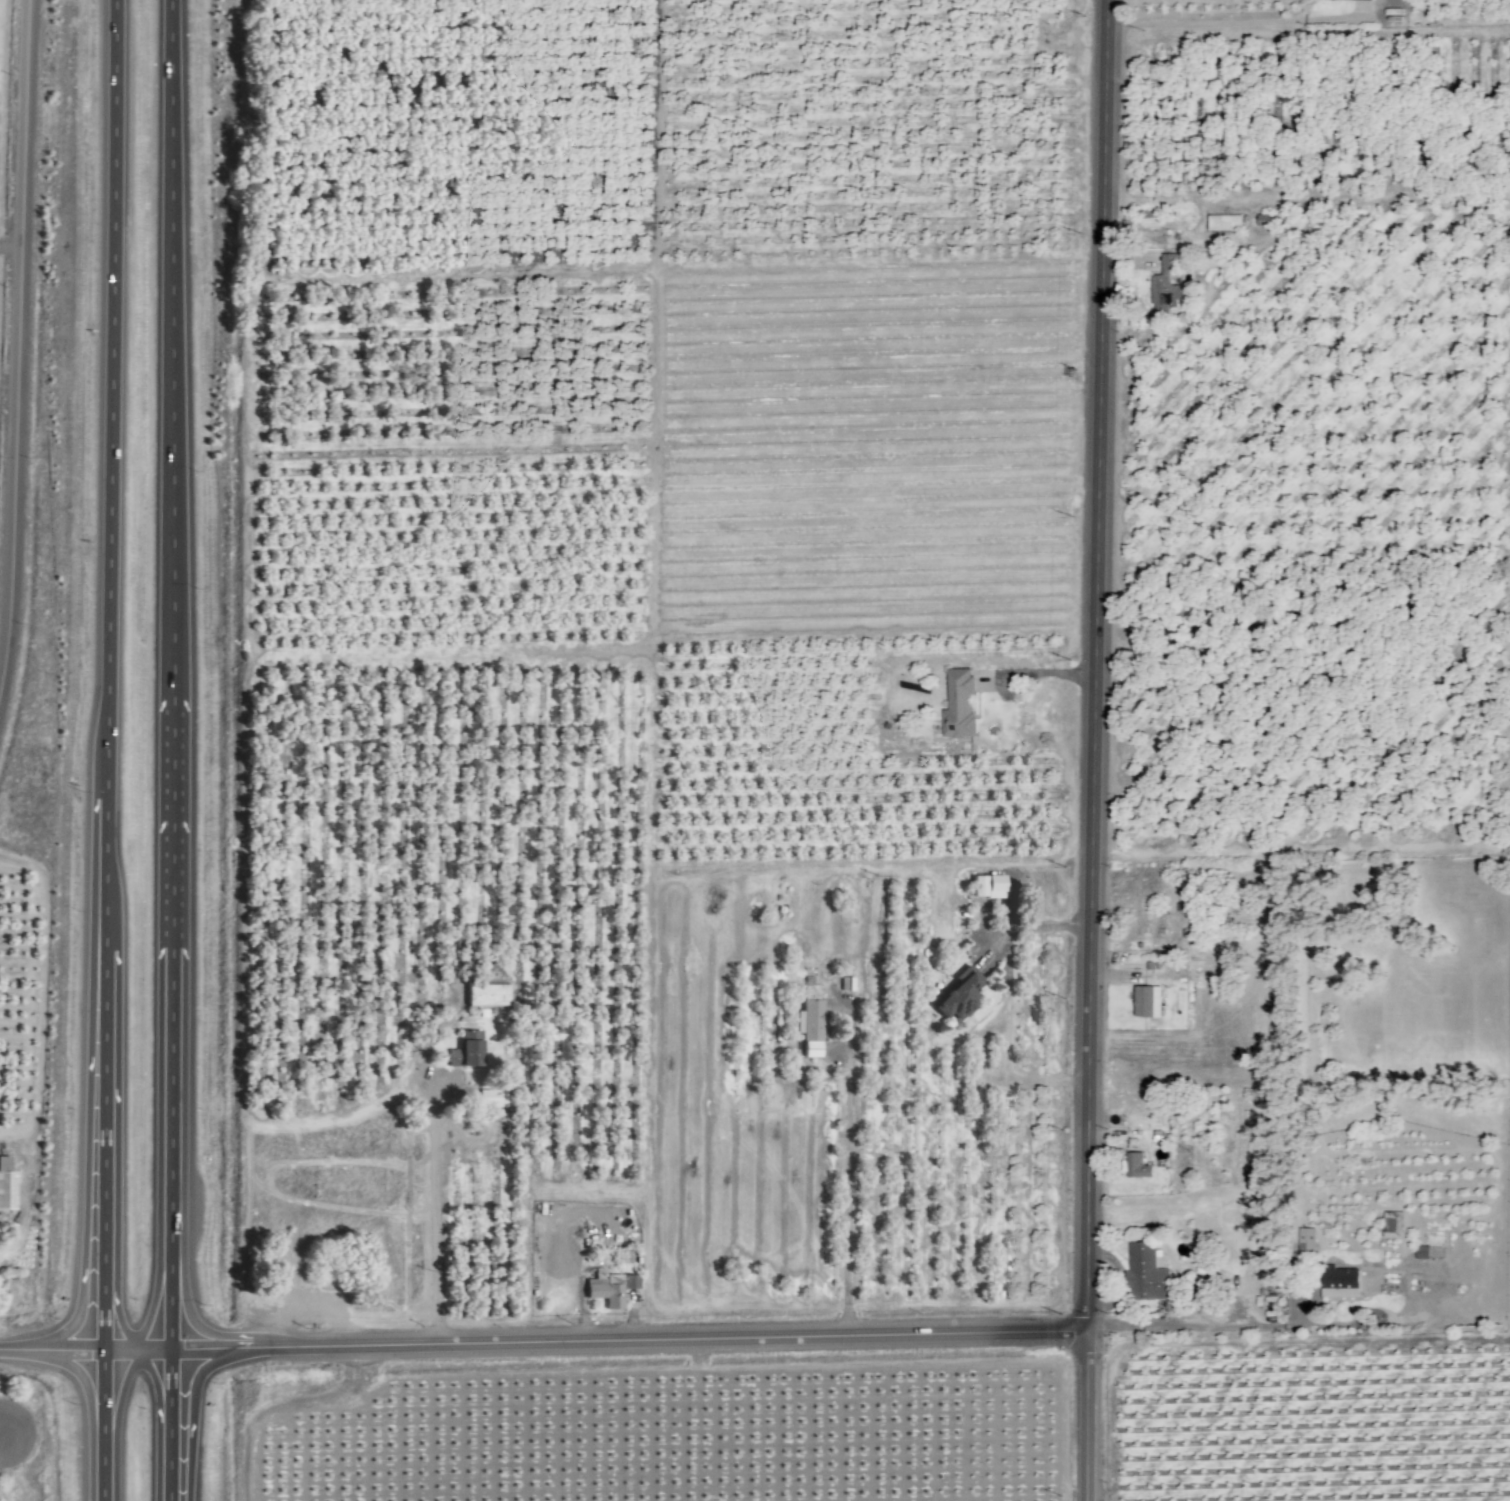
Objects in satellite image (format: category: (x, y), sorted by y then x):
road: (1250, 22)
building: (1261, 219)
building: (1223, 223)
building: (1166, 283)
road: (19, 346)
road: (176, 348)
road: (115, 397)
road: (1035, 673)
building: (957, 704)
road: (1093, 750)
building: (986, 886)
road: (172, 902)
road: (104, 965)
building: (846, 983)
road: (1005, 995)
building: (485, 996)
building: (957, 996)
building: (1146, 1001)
building: (809, 1024)
building: (464, 1050)
building: (490, 1098)
road: (86, 1146)
building: (1136, 1166)
road: (849, 1180)
building: (6, 1185)
road: (439, 1218)
building: (1391, 1223)
road: (170, 1229)
building: (1305, 1241)
road: (103, 1242)
building: (1420, 1252)
building: (1145, 1274)
building: (1337, 1282)
building: (609, 1289)
road: (155, 1298)
road: (188, 1312)
road: (116, 1317)
road: (1195, 1326)
road: (594, 1341)
road: (51, 1349)
road: (156, 1386)
road: (86, 1389)
road: (116, 1405)
road: (190, 1409)
road: (103, 1425)
road: (169, 1425)

